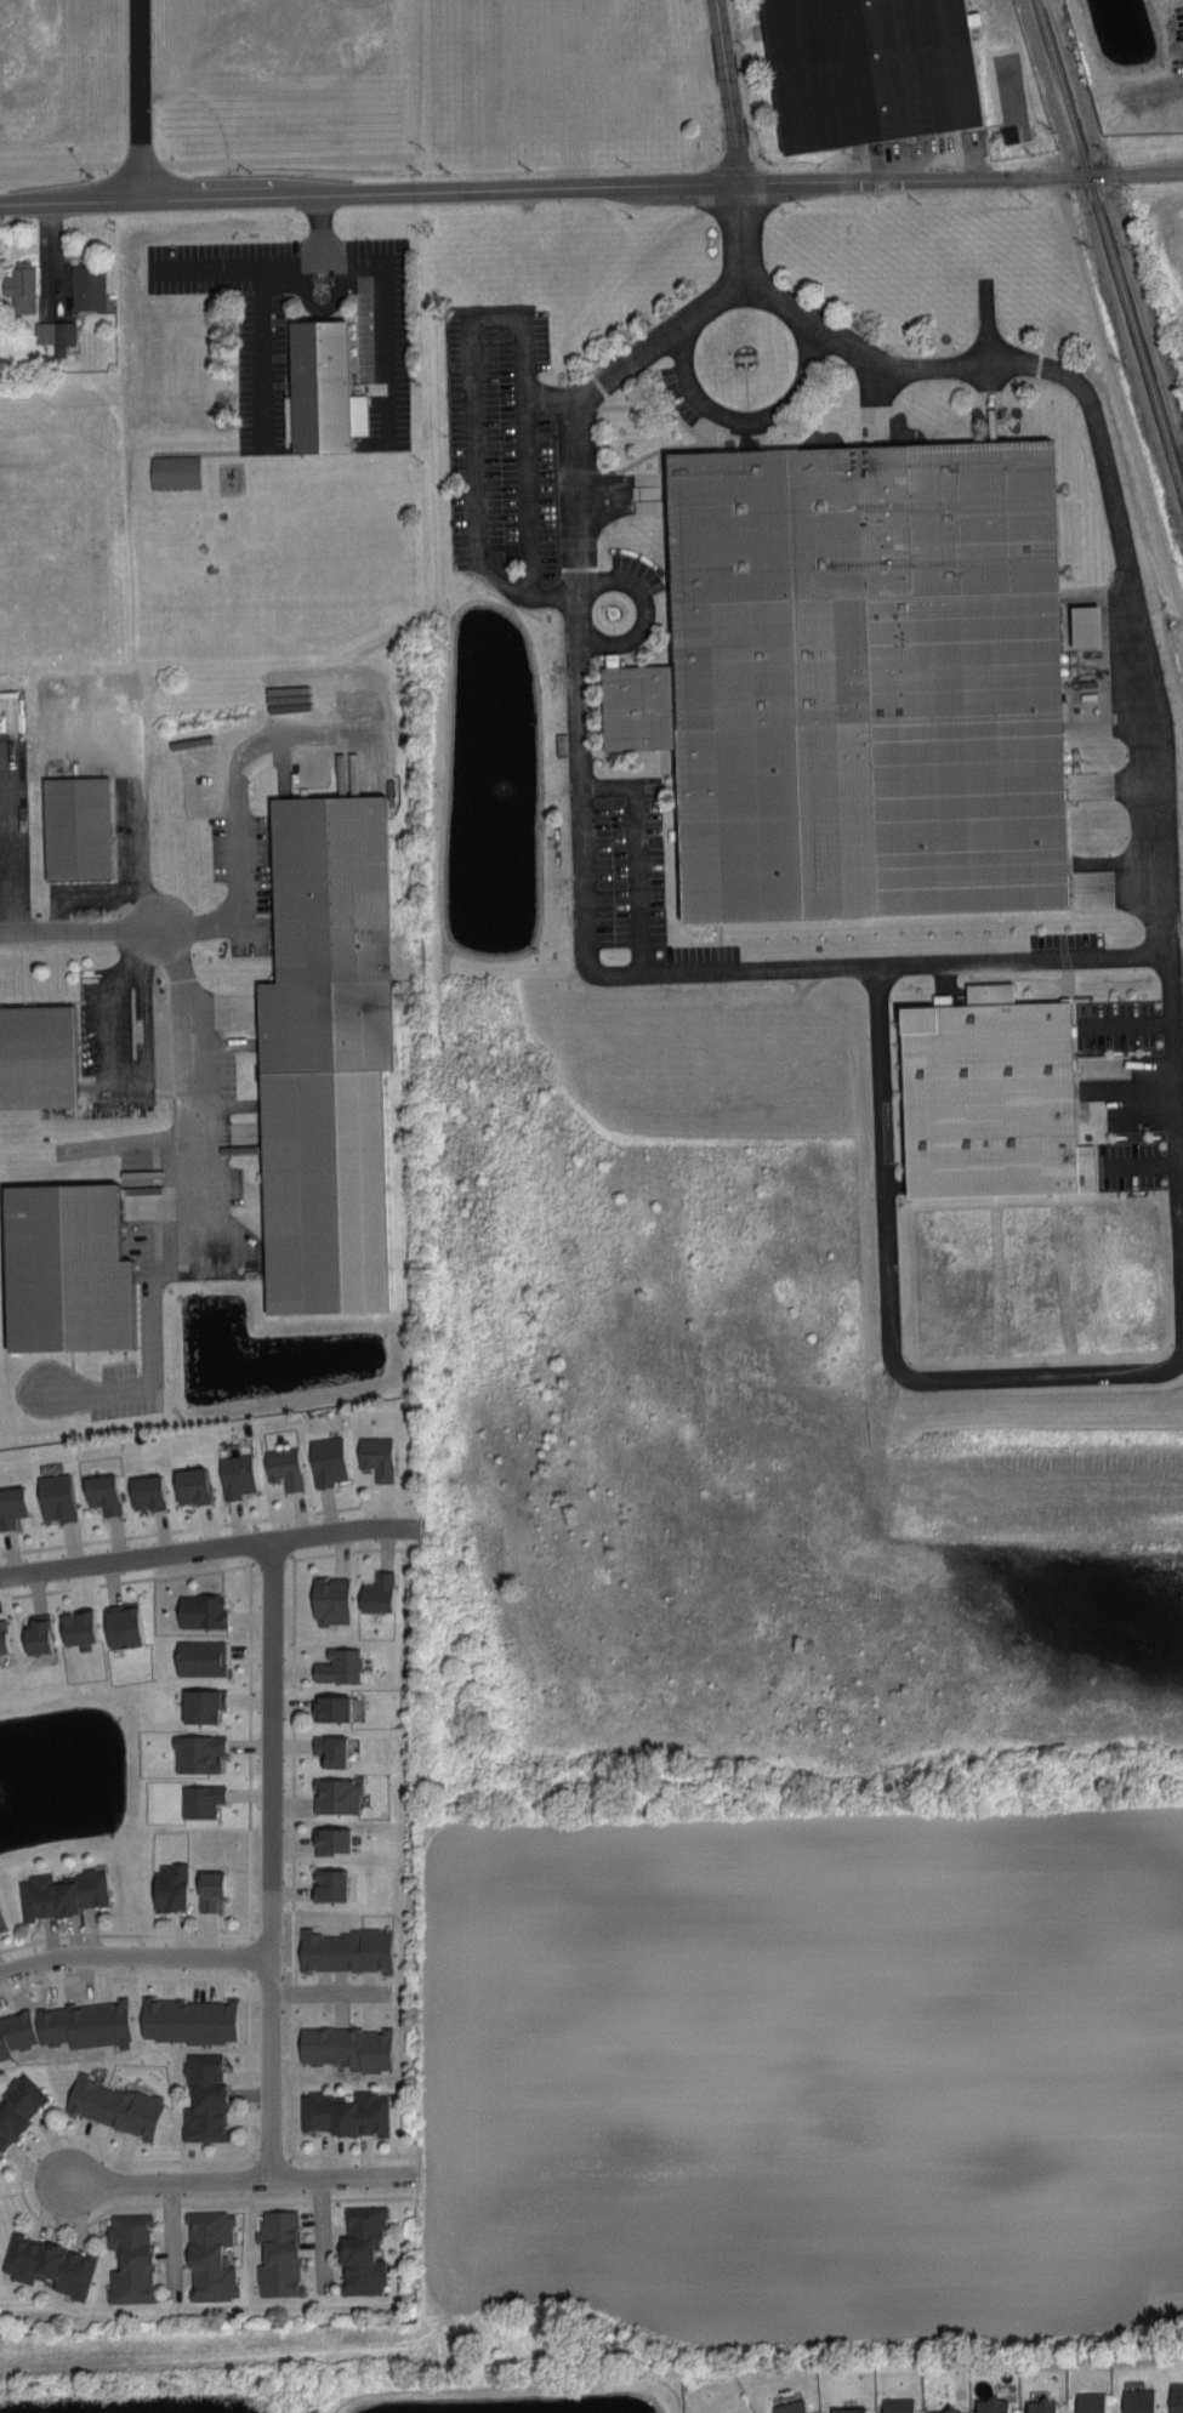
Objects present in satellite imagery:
building: (885, 70)
road: (727, 93)
road: (142, 99)
road: (1155, 173)
road: (563, 190)
railway: (1109, 243)
crop: (1160, 255)
road: (55, 256)
building: (21, 286)
building: (86, 286)
road: (382, 289)
road: (257, 321)
road: (989, 323)
building: (53, 332)
parking lot: (266, 386)
building: (330, 391)
road: (877, 404)
road: (995, 405)
road: (473, 406)
road: (647, 406)
road: (755, 422)
road: (501, 443)
parking lot: (504, 456)
road: (616, 472)
building: (178, 474)
road: (631, 494)
road: (528, 496)
road: (579, 545)
road: (618, 548)
parking lot: (639, 573)
road: (1132, 603)
road: (644, 613)
road: (671, 614)
building: (985, 620)
building: (1086, 624)
road: (644, 641)
building: (820, 655)
road: (645, 774)
parking lot: (286, 784)
parking lot: (95, 796)
road: (6, 808)
parking lot: (13, 818)
road: (135, 823)
road: (240, 823)
building: (86, 831)
road: (15, 843)
parking lot: (618, 843)
road: (636, 854)
road: (138, 907)
road: (69, 928)
building: (340, 944)
road: (141, 947)
road: (1019, 956)
road: (178, 995)
parking lot: (120, 1030)
parking lot: (186, 1032)
building: (44, 1064)
road: (116, 1082)
building: (991, 1095)
road: (878, 1145)
building: (64, 1267)
building: (376, 1456)
building: (326, 1461)
building: (284, 1467)
building: (235, 1474)
building: (190, 1484)
building: (146, 1491)
building: (102, 1492)
building: (56, 1496)
building: (11, 1506)
road: (206, 1548)
building: (376, 1592)
building: (330, 1600)
building: (200, 1610)
building: (121, 1624)
building: (36, 1633)
building: (2, 1637)
crop: (803, 1647)
building: (199, 1657)
building: (337, 1664)
building: (201, 1705)
building: (330, 1707)
building: (330, 1748)
building: (197, 1752)
building: (335, 1794)
building: (200, 1800)
building: (331, 1839)
road: (269, 1859)
building: (329, 1884)
building: (170, 1886)
building: (209, 1889)
building: (61, 1894)
building: (1, 1922)
building: (345, 1950)
road: (133, 1957)
road: (325, 1992)
building: (188, 2020)
building: (346, 2047)
building: (204, 2099)
building: (113, 2105)
building: (18, 2106)
building: (343, 2112)
road: (346, 2175)
road: (167, 2182)
building: (362, 2249)
building: (278, 2254)
building: (210, 2255)
building: (130, 2258)
building: (47, 2264)
road: (513, 2388)
building: (1176, 2396)
building: (1138, 2400)
building: (1090, 2401)
building: (993, 2403)
building: (897, 2405)
building: (1041, 2405)
building: (790, 2406)
building: (848, 2408)
building: (944, 2409)

